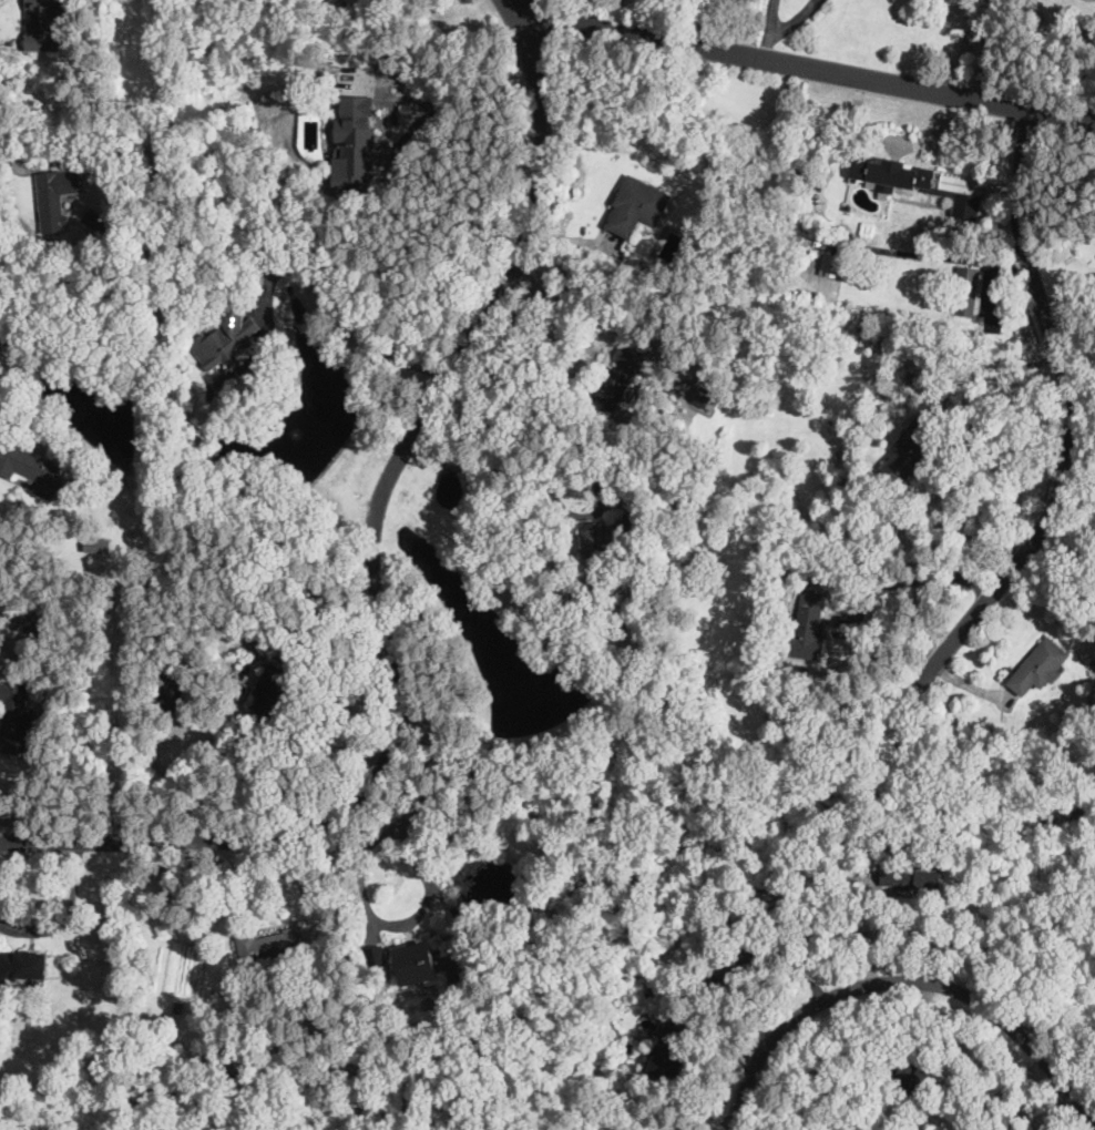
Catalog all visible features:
building: (335, 3)
road: (529, 8)
road: (579, 10)
road: (770, 18)
road: (794, 21)
road: (709, 24)
building: (43, 26)
road: (765, 49)
road: (982, 50)
road: (819, 71)
building: (81, 144)
road: (398, 151)
building: (354, 157)
road: (16, 160)
building: (680, 162)
building: (890, 173)
building: (751, 195)
building: (57, 197)
building: (638, 204)
building: (966, 206)
building: (867, 233)
building: (764, 242)
building: (832, 266)
road: (325, 287)
building: (964, 291)
road: (566, 302)
building: (225, 340)
building: (795, 349)
road: (1002, 373)
building: (615, 387)
building: (703, 397)
road: (1076, 419)
building: (911, 451)
building: (31, 467)
road: (493, 467)
building: (89, 498)
building: (157, 525)
building: (134, 540)
building: (98, 544)
building: (594, 544)
building: (641, 550)
building: (785, 568)
road: (920, 574)
road: (376, 576)
building: (857, 615)
building: (648, 618)
building: (33, 623)
building: (307, 627)
building: (808, 628)
building: (1094, 663)
building: (1078, 664)
building: (1037, 668)
building: (170, 691)
building: (272, 691)
building: (14, 719)
road: (291, 740)
road: (413, 805)
building: (912, 879)
building: (846, 882)
building: (270, 946)
building: (734, 960)
building: (417, 964)
building: (23, 966)
road: (903, 987)
building: (182, 1011)
building: (173, 1049)
building: (667, 1056)
road: (690, 1068)
building: (914, 1080)

